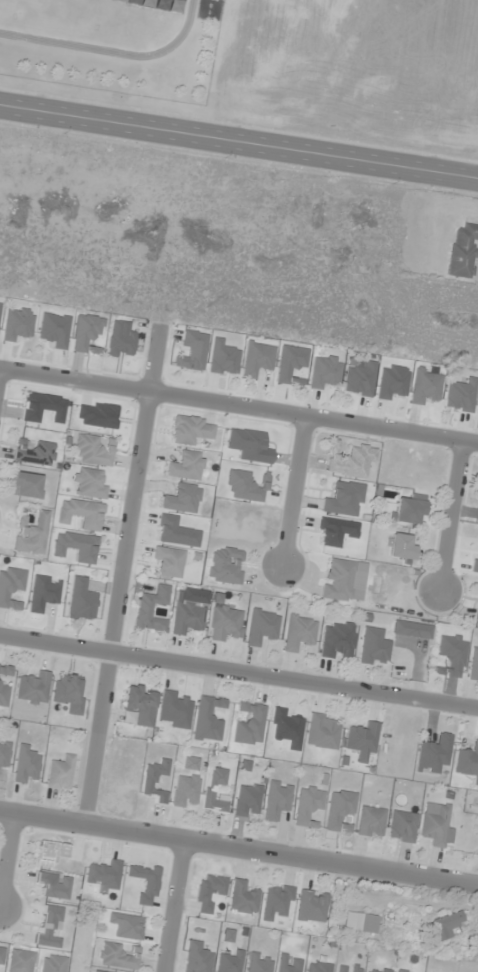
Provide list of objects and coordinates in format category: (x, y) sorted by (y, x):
road: (239, 141)
building: (463, 252)
building: (0, 308)
building: (18, 324)
building: (55, 330)
building: (87, 334)
building: (193, 352)
building: (222, 358)
building: (257, 360)
building: (290, 363)
building: (325, 372)
building: (360, 380)
building: (426, 386)
building: (461, 396)
road: (239, 404)
building: (192, 430)
building: (250, 446)
building: (95, 450)
building: (37, 454)
building: (350, 461)
building: (186, 466)
building: (91, 484)
building: (28, 486)
building: (245, 486)
road: (294, 492)
building: (182, 498)
building: (345, 500)
building: (409, 510)
building: (82, 514)
road: (451, 517)
building: (32, 535)
building: (77, 546)
building: (401, 546)
building: (169, 562)
building: (226, 565)
road: (125, 574)
building: (339, 579)
building: (11, 587)
building: (44, 593)
building: (152, 609)
building: (188, 617)
building: (225, 621)
building: (263, 627)
building: (300, 632)
building: (339, 641)
building: (374, 647)
building: (452, 655)
building: (474, 662)
road: (238, 673)
building: (3, 686)
building: (34, 688)
building: (70, 692)
building: (140, 704)
building: (175, 710)
building: (209, 719)
building: (250, 724)
building: (287, 729)
building: (322, 732)
building: (363, 740)
building: (4, 753)
building: (434, 754)
building: (468, 759)
building: (27, 765)
building: (61, 773)
building: (155, 781)
building: (215, 790)
building: (186, 791)
building: (248, 801)
building: (278, 801)
building: (309, 806)
building: (341, 810)
building: (371, 822)
building: (436, 824)
building: (403, 827)
road: (238, 849)
building: (53, 852)
road: (8, 864)
building: (104, 875)
building: (145, 882)
building: (55, 885)
building: (209, 892)
building: (243, 897)
building: (278, 901)
building: (312, 906)
road: (175, 907)
building: (361, 923)
building: (447, 925)
building: (50, 926)
building: (128, 926)
building: (2, 956)
building: (117, 956)
building: (198, 958)
building: (21, 961)
building: (231, 962)
building: (260, 963)
building: (54, 964)
building: (290, 964)
building: (319, 967)
building: (349, 968)
building: (378, 970)
building: (99, 971)
building: (403, 971)

